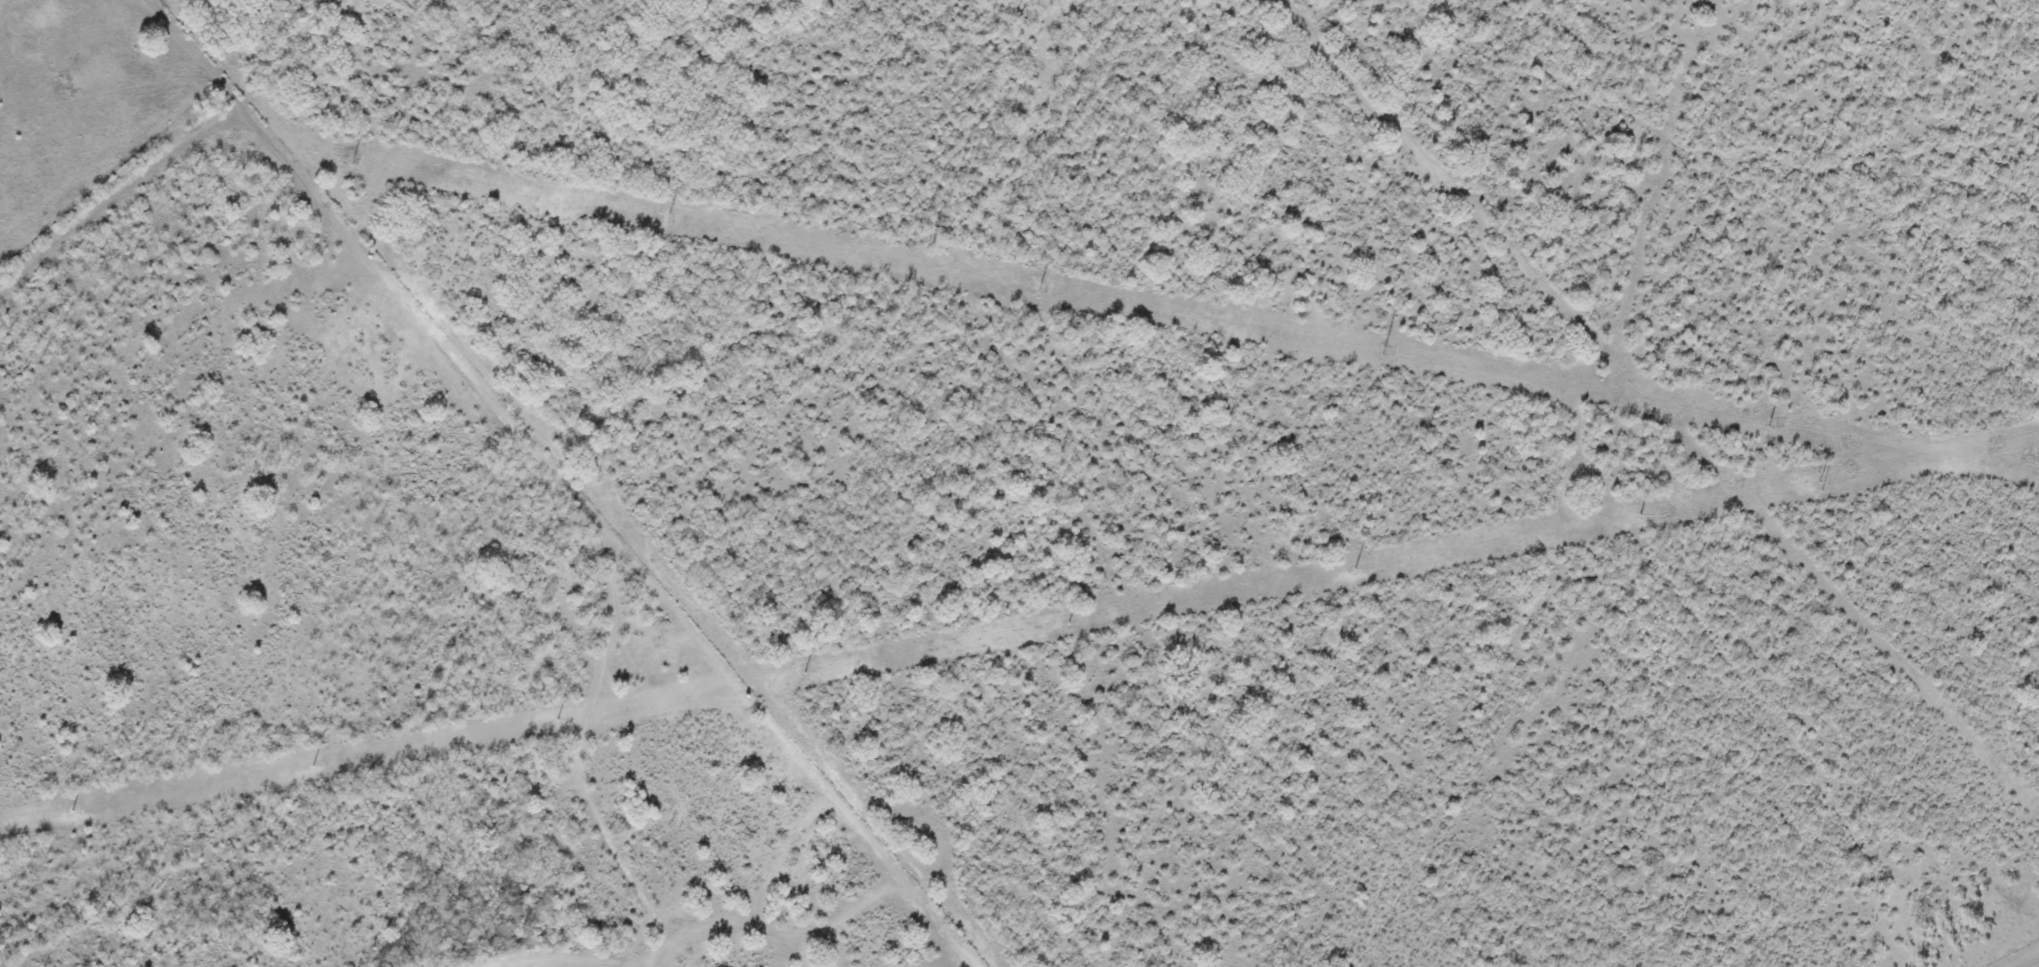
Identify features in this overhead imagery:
power tower: (352, 160)
power tower: (669, 219)
power tower: (1038, 288)
power tower: (1382, 352)
power tower: (1768, 424)
power tower: (1819, 477)
road: (561, 482)
power tower: (1639, 515)
power tower: (1355, 569)
power tower: (1070, 622)
power tower: (805, 672)
power tower: (558, 718)
power tower: (313, 764)
power tower: (72, 811)

